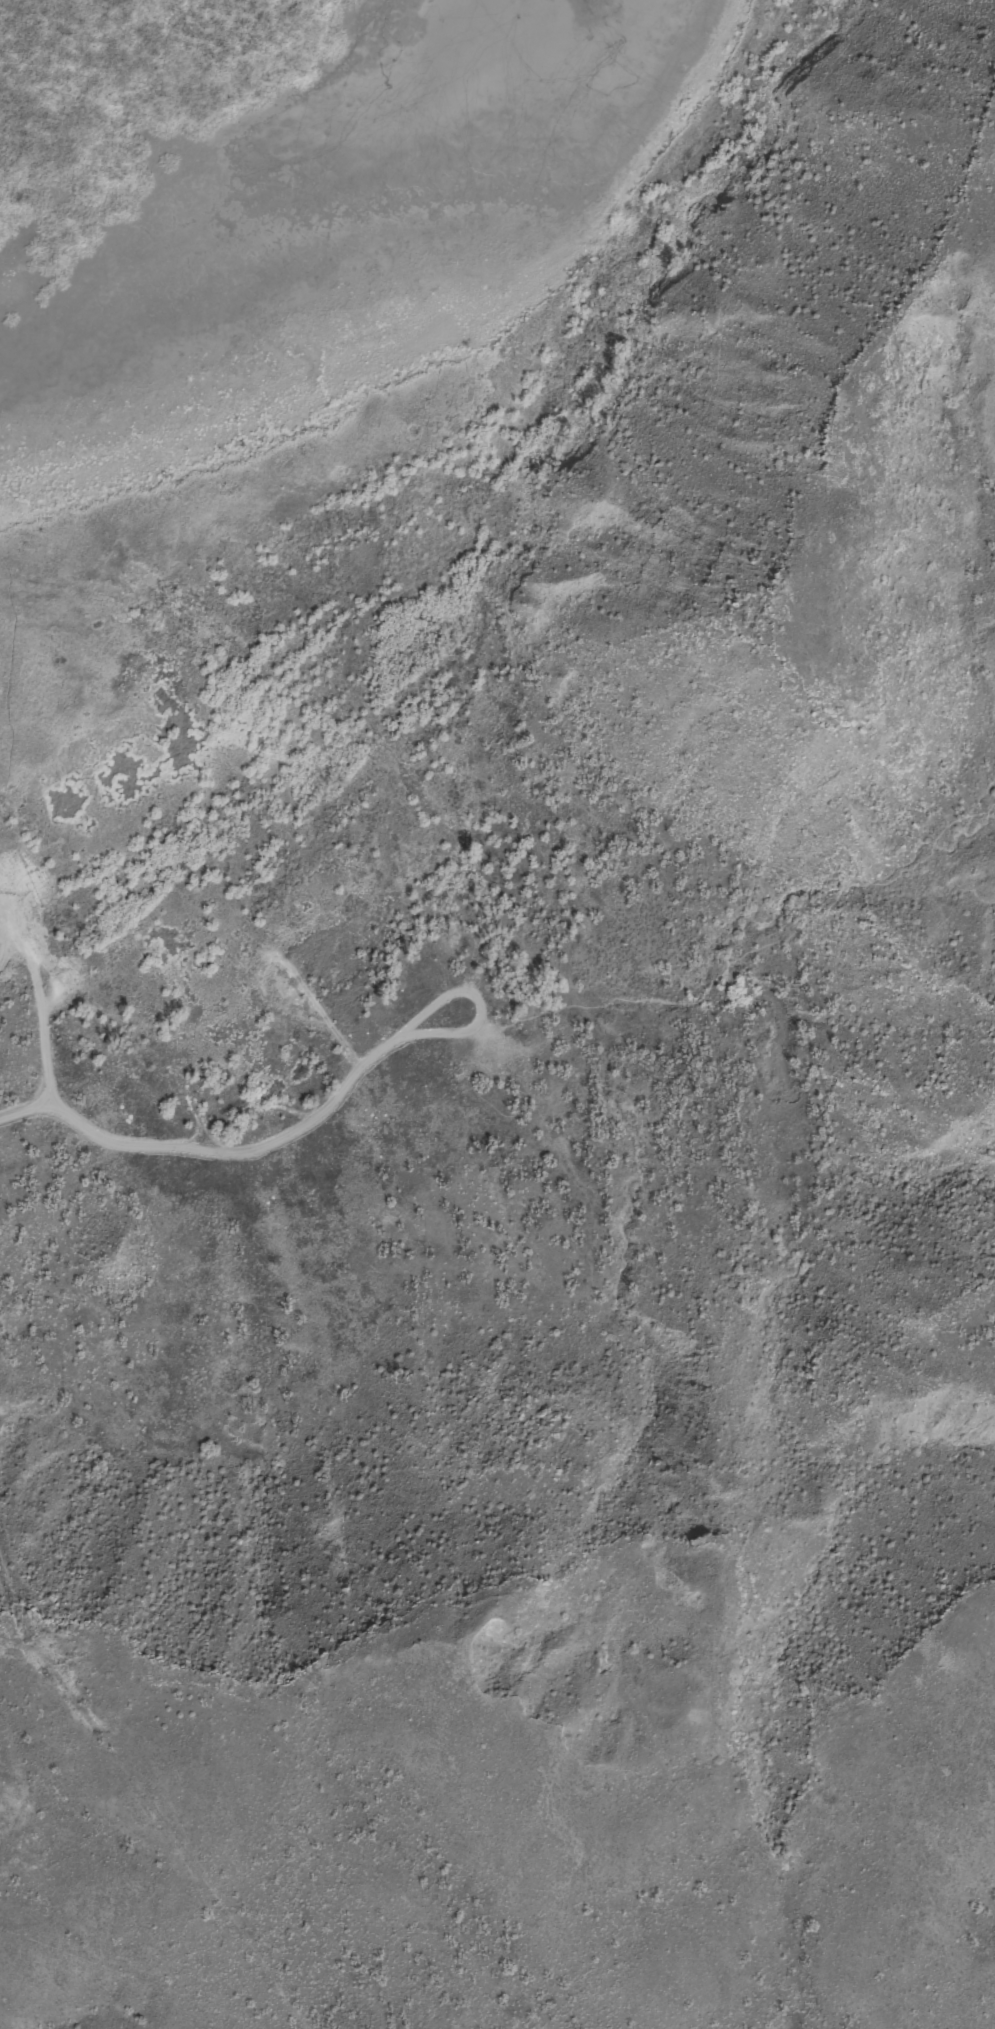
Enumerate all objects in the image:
quarry: (41, 931)
quarry: (294, 974)
road: (48, 1015)
road: (45, 1091)
road: (186, 1148)
road: (236, 1917)

